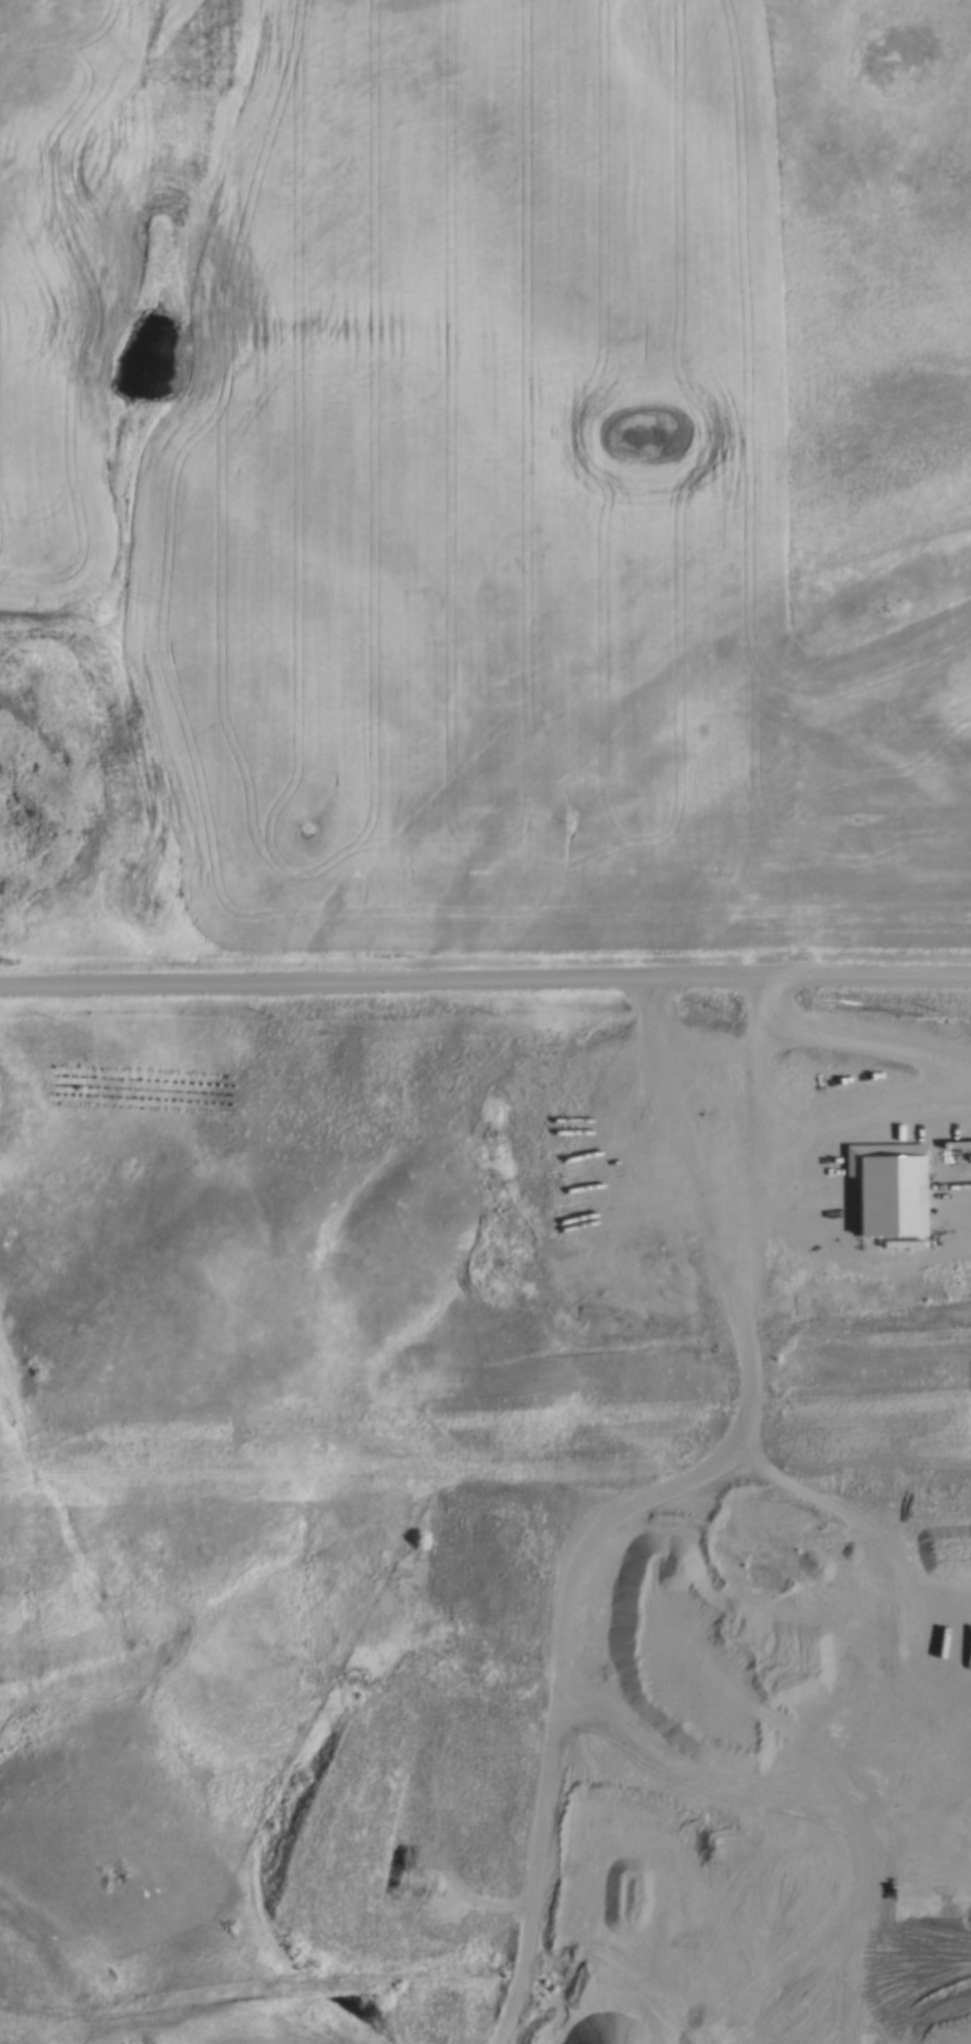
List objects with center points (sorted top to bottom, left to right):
road: (485, 979)
quarry: (797, 1887)
quarry: (227, 2021)

